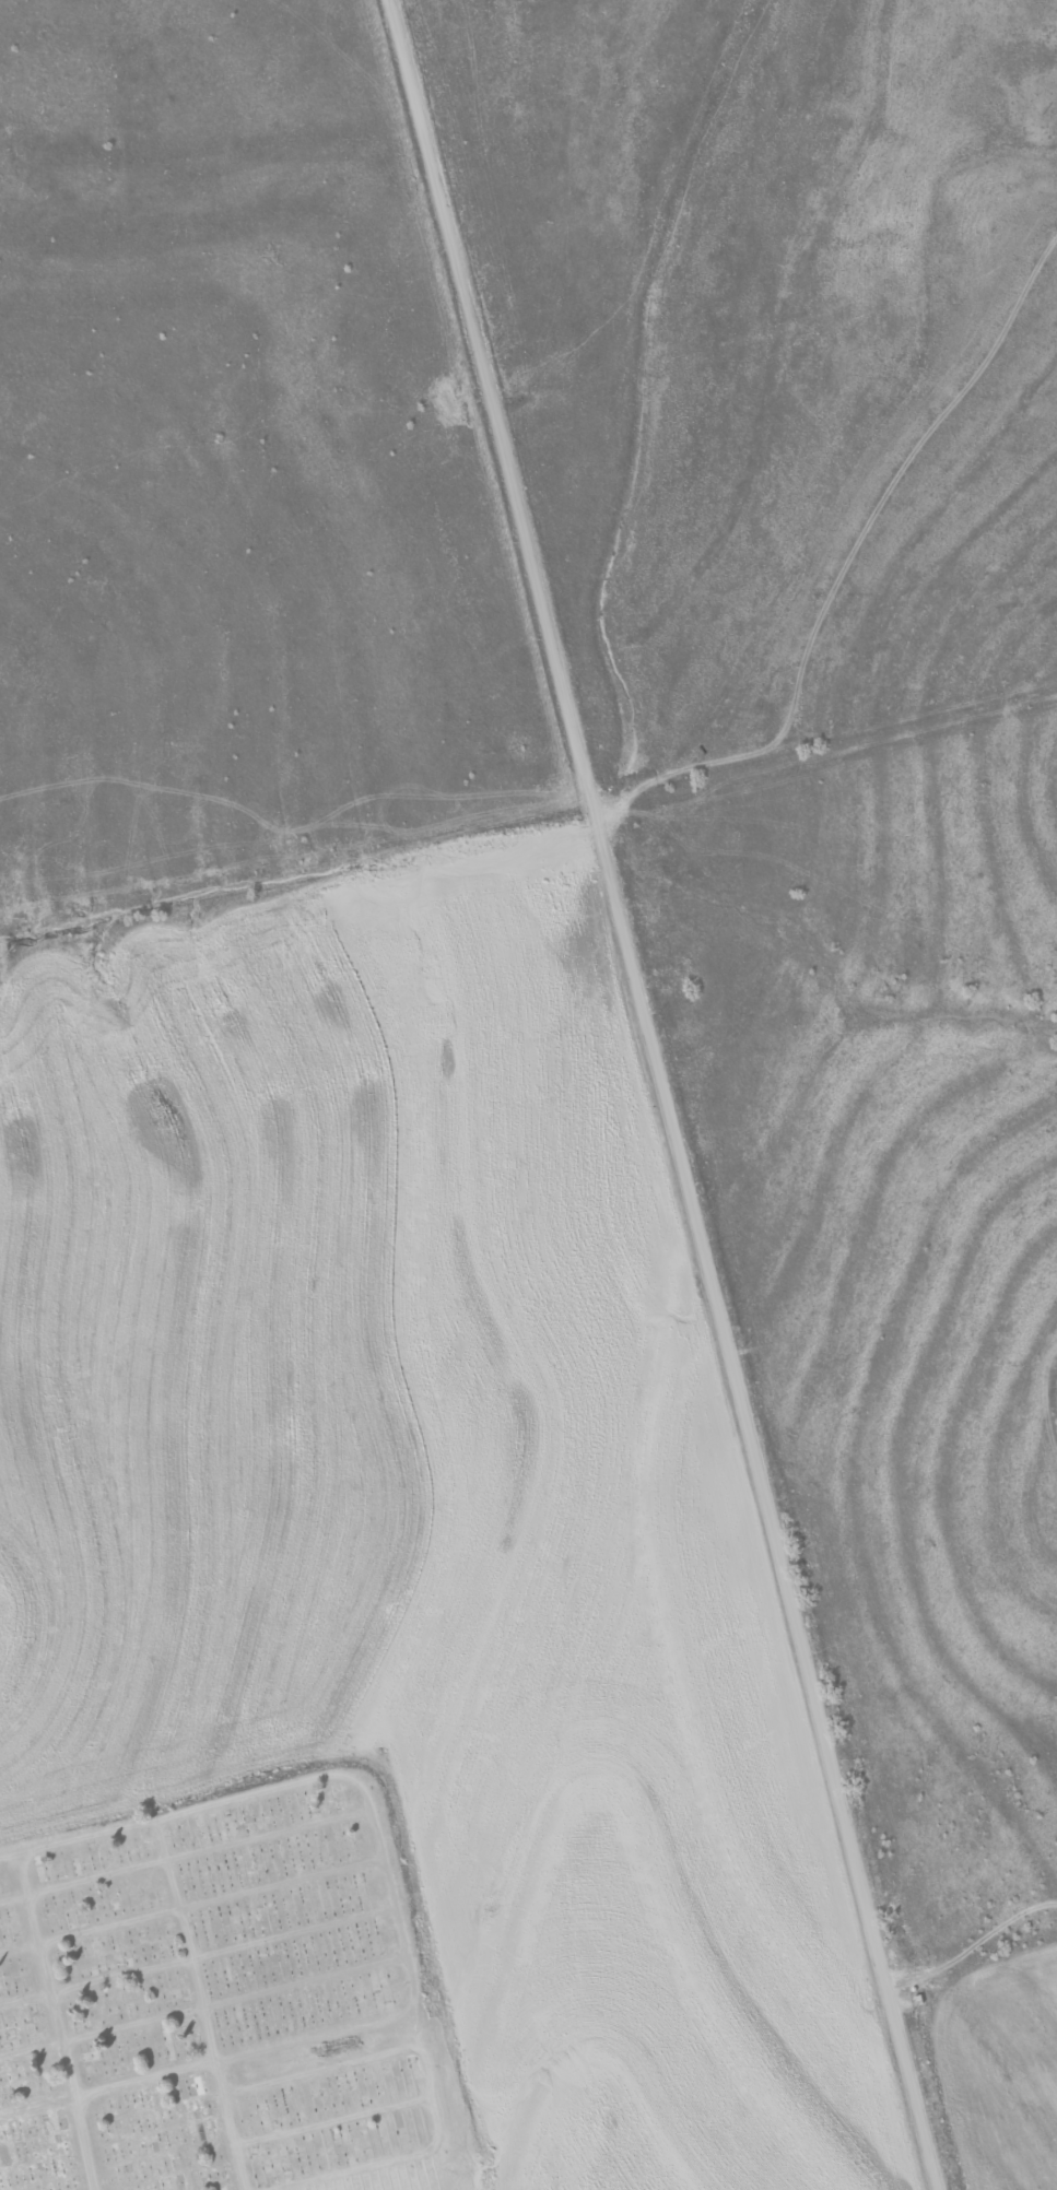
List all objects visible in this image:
road: (830, 526)
road: (646, 1097)
building: (161, 1897)
road: (368, 1919)
building: (110, 1954)
building: (7, 1990)
park: (218, 1994)
building: (176, 1998)
building: (8, 2012)
road: (179, 2021)
road: (44, 2040)
building: (98, 2058)
building: (190, 2086)
building: (208, 2134)
building: (160, 2142)
building: (174, 2182)

